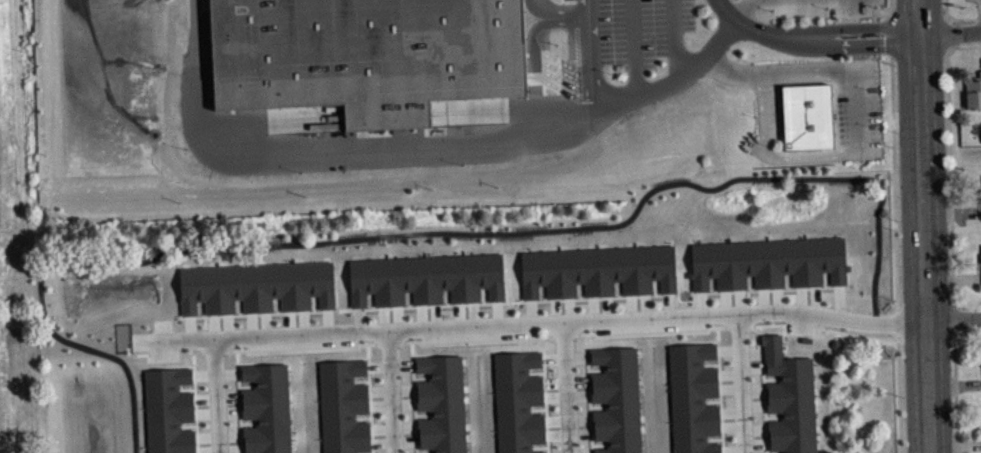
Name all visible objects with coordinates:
road: (536, 7)
road: (741, 8)
parking lot: (821, 8)
road: (563, 13)
road: (979, 17)
road: (952, 18)
parking lot: (624, 31)
road: (947, 32)
road: (951, 32)
road: (591, 34)
road: (676, 36)
road: (814, 37)
road: (635, 46)
road: (964, 46)
building: (366, 55)
road: (536, 73)
road: (594, 91)
building: (974, 91)
parking lot: (856, 108)
building: (808, 115)
road: (857, 121)
road: (414, 148)
road: (893, 167)
road: (950, 176)
building: (980, 199)
road: (927, 226)
road: (420, 232)
building: (768, 261)
building: (598, 269)
building: (426, 278)
building: (257, 286)
road: (954, 318)
road: (954, 319)
road: (534, 322)
road: (818, 327)
road: (742, 383)
road: (567, 387)
road: (392, 391)
road: (900, 393)
road: (955, 393)
road: (218, 396)
building: (694, 398)
building: (790, 398)
building: (617, 399)
building: (518, 401)
building: (441, 403)
building: (343, 406)
building: (266, 408)
building: (169, 410)

